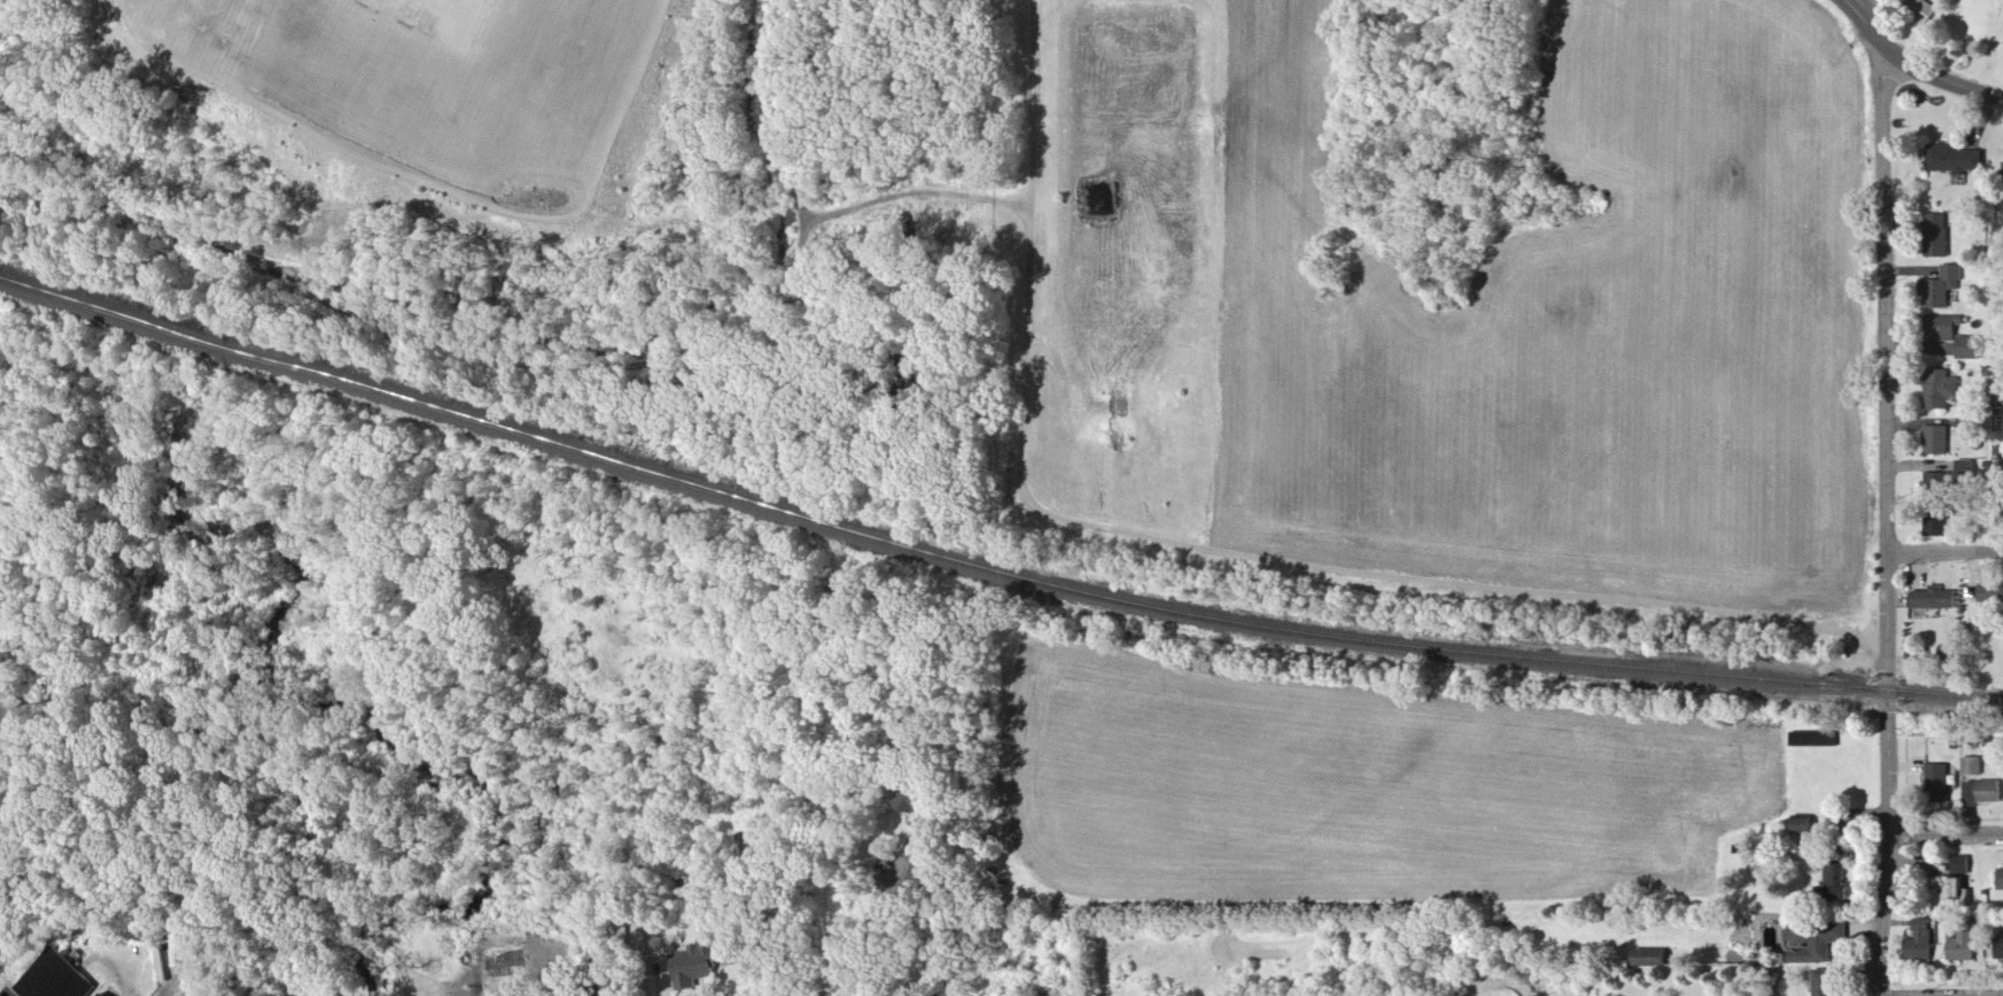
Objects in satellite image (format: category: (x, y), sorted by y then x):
building: (1921, 10)
road: (1868, 25)
park: (1983, 32)
road: (1944, 81)
building: (1958, 161)
building: (1941, 235)
building: (1946, 287)
railway: (100, 309)
building: (1956, 323)
railway: (211, 342)
building: (1972, 348)
building: (1942, 390)
building: (1971, 427)
building: (1938, 441)
building: (1968, 471)
building: (1940, 484)
road: (1886, 525)
building: (1939, 528)
road: (1944, 553)
building: (1993, 593)
railway: (1097, 596)
building: (1938, 599)
building: (1815, 740)
building: (1941, 761)
building: (1974, 768)
building: (1990, 793)
building: (928, 809)
building: (1806, 824)
road: (1943, 833)
building: (1962, 866)
building: (1838, 877)
building: (2000, 879)
building: (920, 880)
building: (1950, 892)
road: (868, 912)
building: (616, 933)
building: (1962, 936)
building: (1818, 942)
building: (1917, 945)
building: (1997, 950)
building: (1653, 959)
building: (697, 964)
building: (48, 976)
building: (1827, 983)
building: (593, 987)
building: (98, 994)
building: (104, 995)

